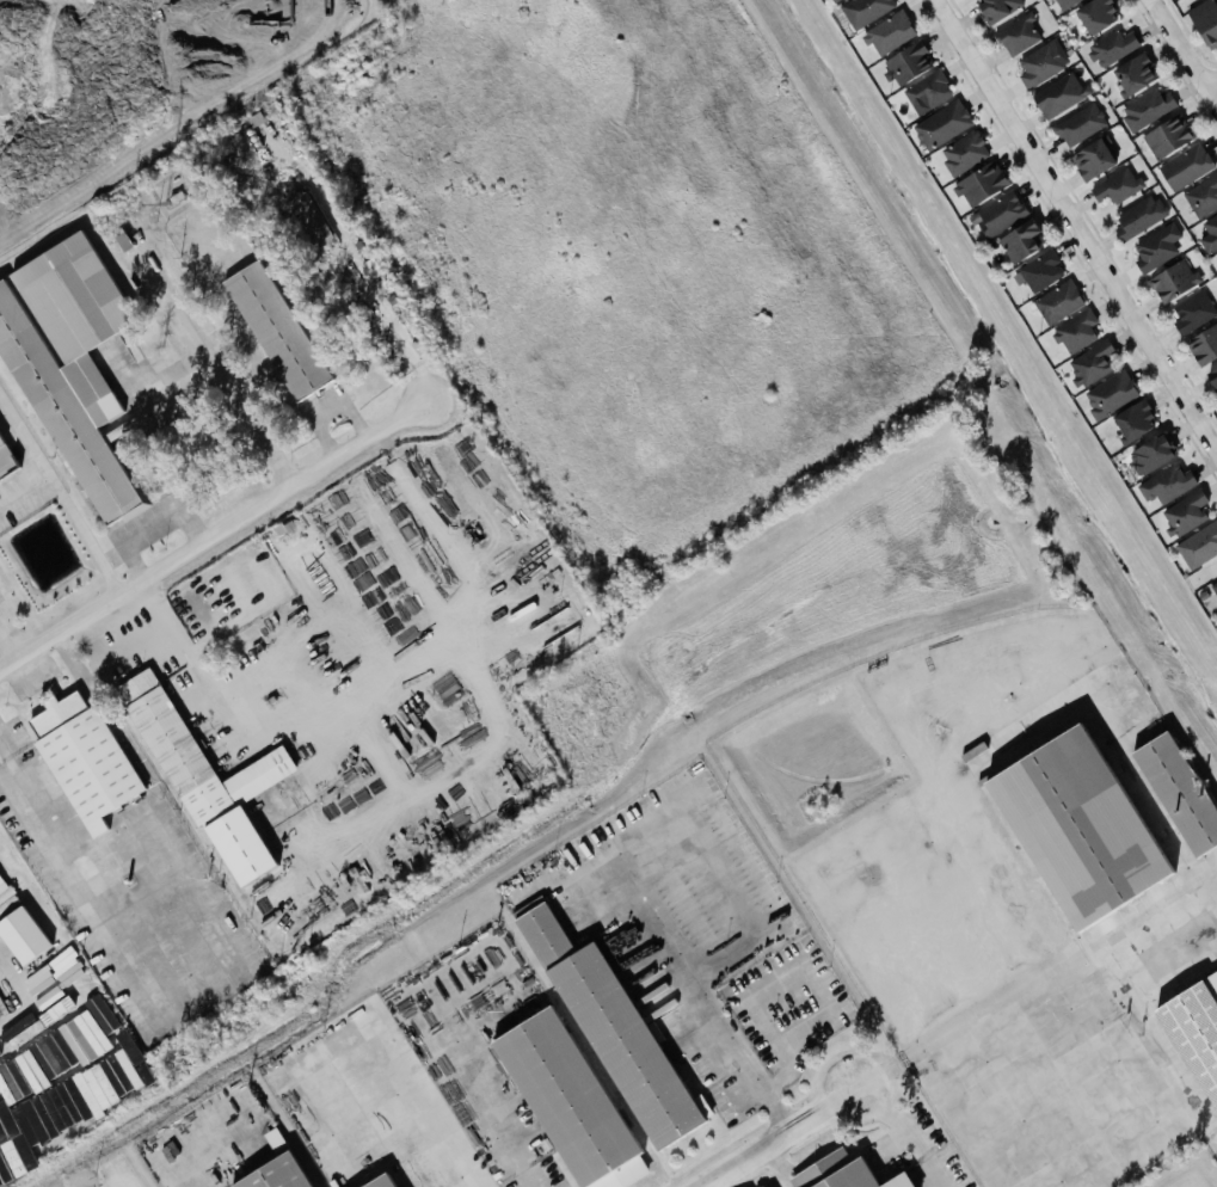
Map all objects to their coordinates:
building: (832, 0)
building: (835, 0)
building: (1064, 2)
building: (995, 8)
building: (863, 10)
building: (1094, 14)
building: (1204, 23)
building: (887, 33)
building: (1018, 35)
building: (1110, 48)
road: (1184, 51)
building: (906, 63)
building: (1037, 66)
building: (1132, 73)
road: (1212, 85)
building: (926, 91)
building: (1057, 94)
building: (1144, 109)
building: (941, 124)
building: (1077, 125)
building: (1167, 136)
building: (963, 154)
building: (1090, 160)
building: (1184, 167)
building: (979, 184)
building: (1113, 187)
building: (1201, 196)
building: (998, 214)
building: (1136, 217)
building: (306, 220)
road: (1076, 225)
building: (1209, 233)
building: (1020, 241)
building: (1154, 247)
building: (1216, 258)
building: (1039, 271)
building: (1170, 282)
building: (1057, 302)
building: (1190, 313)
road: (386, 327)
building: (276, 331)
building: (1075, 331)
building: (1203, 345)
building: (1090, 363)
building: (68, 365)
road: (215, 365)
building: (1212, 379)
building: (1108, 394)
building: (1132, 422)
building: (1149, 455)
building: (4, 465)
building: (1166, 484)
road: (60, 493)
building: (1182, 513)
road: (441, 527)
building: (281, 529)
road: (213, 531)
building: (1198, 545)
road: (283, 548)
road: (401, 554)
building: (1213, 588)
road: (368, 626)
road: (8, 642)
road: (368, 733)
building: (82, 759)
building: (203, 779)
building: (1176, 792)
road: (397, 826)
building: (1075, 828)
road: (619, 859)
road: (80, 866)
building: (0, 885)
road: (1209, 891)
building: (5, 899)
building: (18, 936)
road: (1051, 970)
road: (811, 976)
building: (1197, 1028)
building: (611, 1029)
road: (1157, 1037)
road: (55, 1060)
road: (878, 1075)
building: (567, 1102)
road: (491, 1117)
road: (437, 1130)
road: (903, 1134)
building: (19, 1136)
road: (775, 1138)
building: (270, 1140)
road: (210, 1152)
building: (275, 1173)
building: (837, 1173)
road: (119, 1177)
building: (380, 1181)

